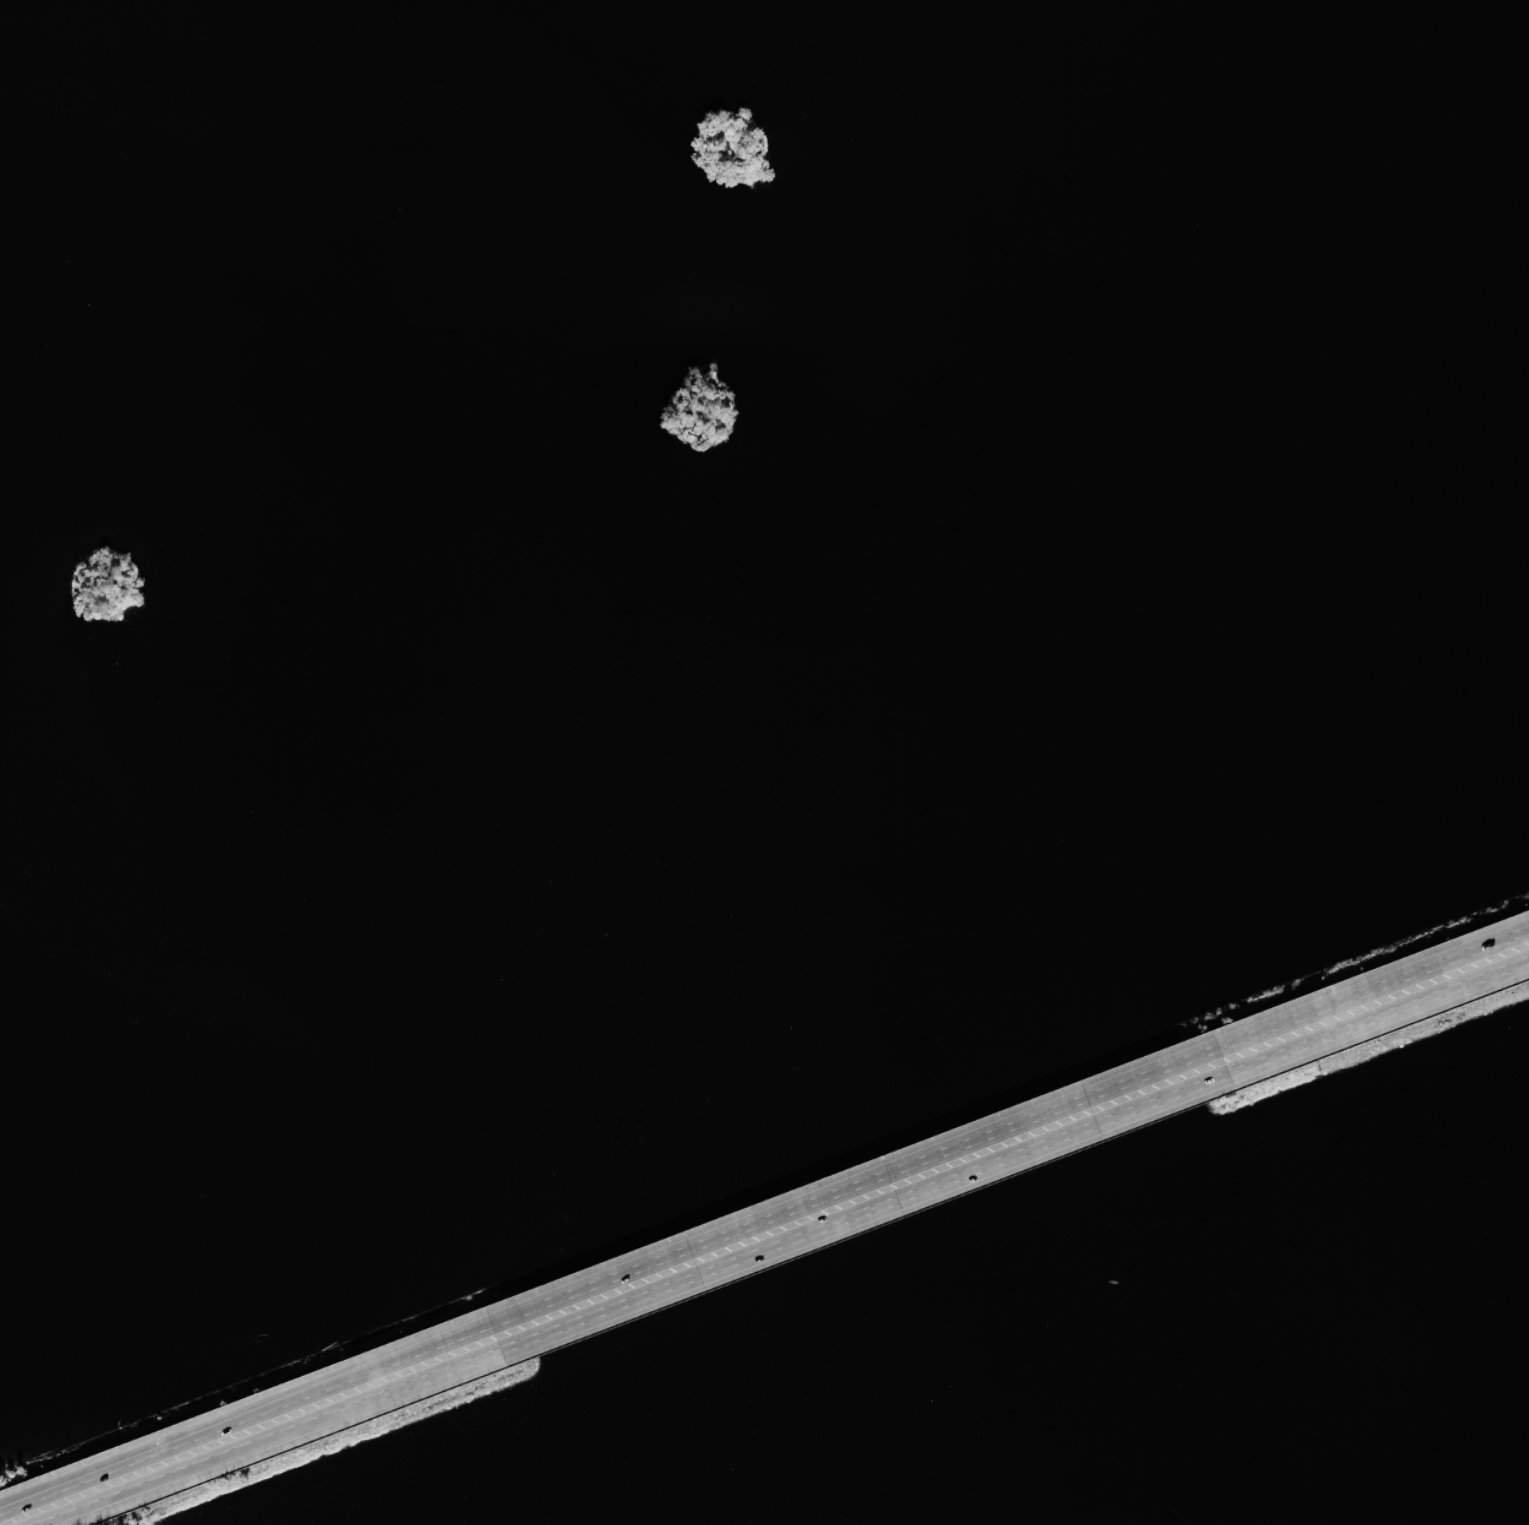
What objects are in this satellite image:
river: (712, 923)
road: (1085, 1122)
road: (533, 1331)
road: (390, 1385)
road: (187, 1462)

